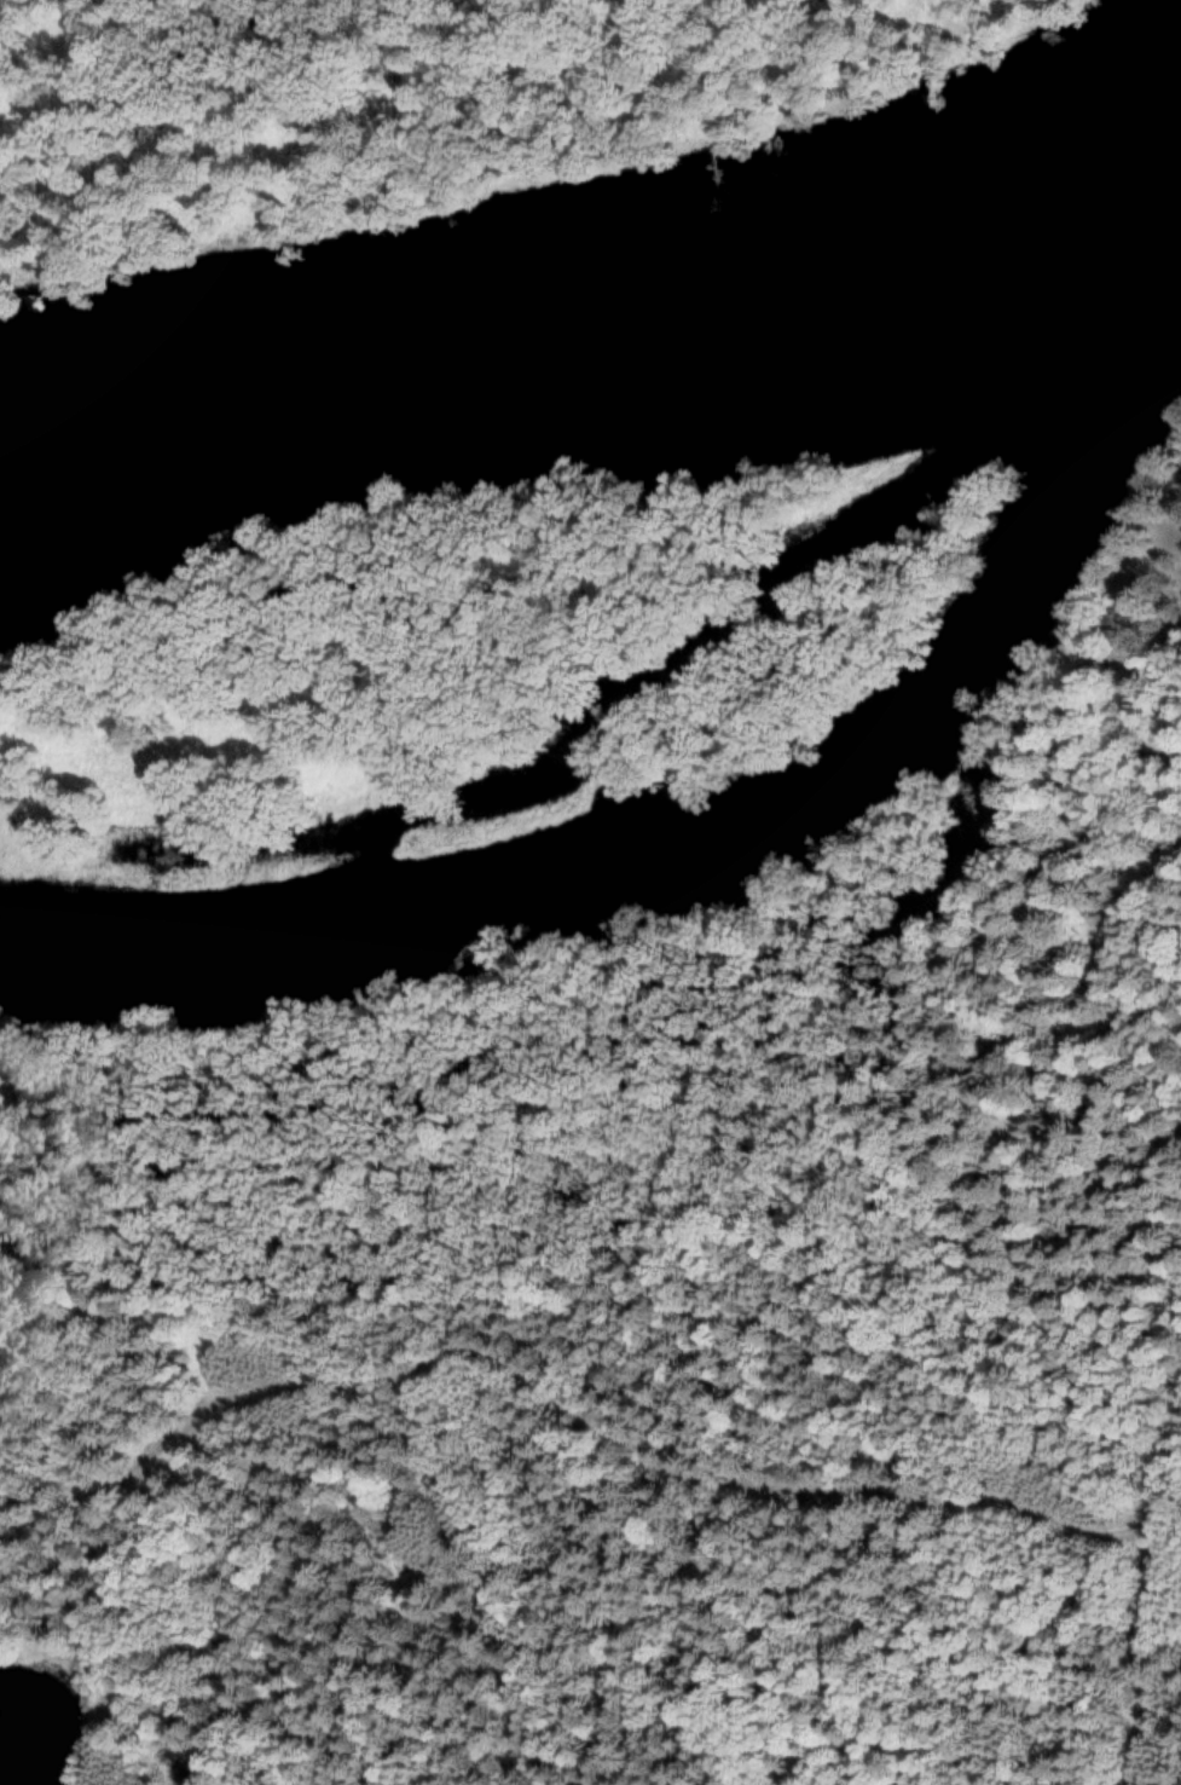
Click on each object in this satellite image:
river: (610, 295)

